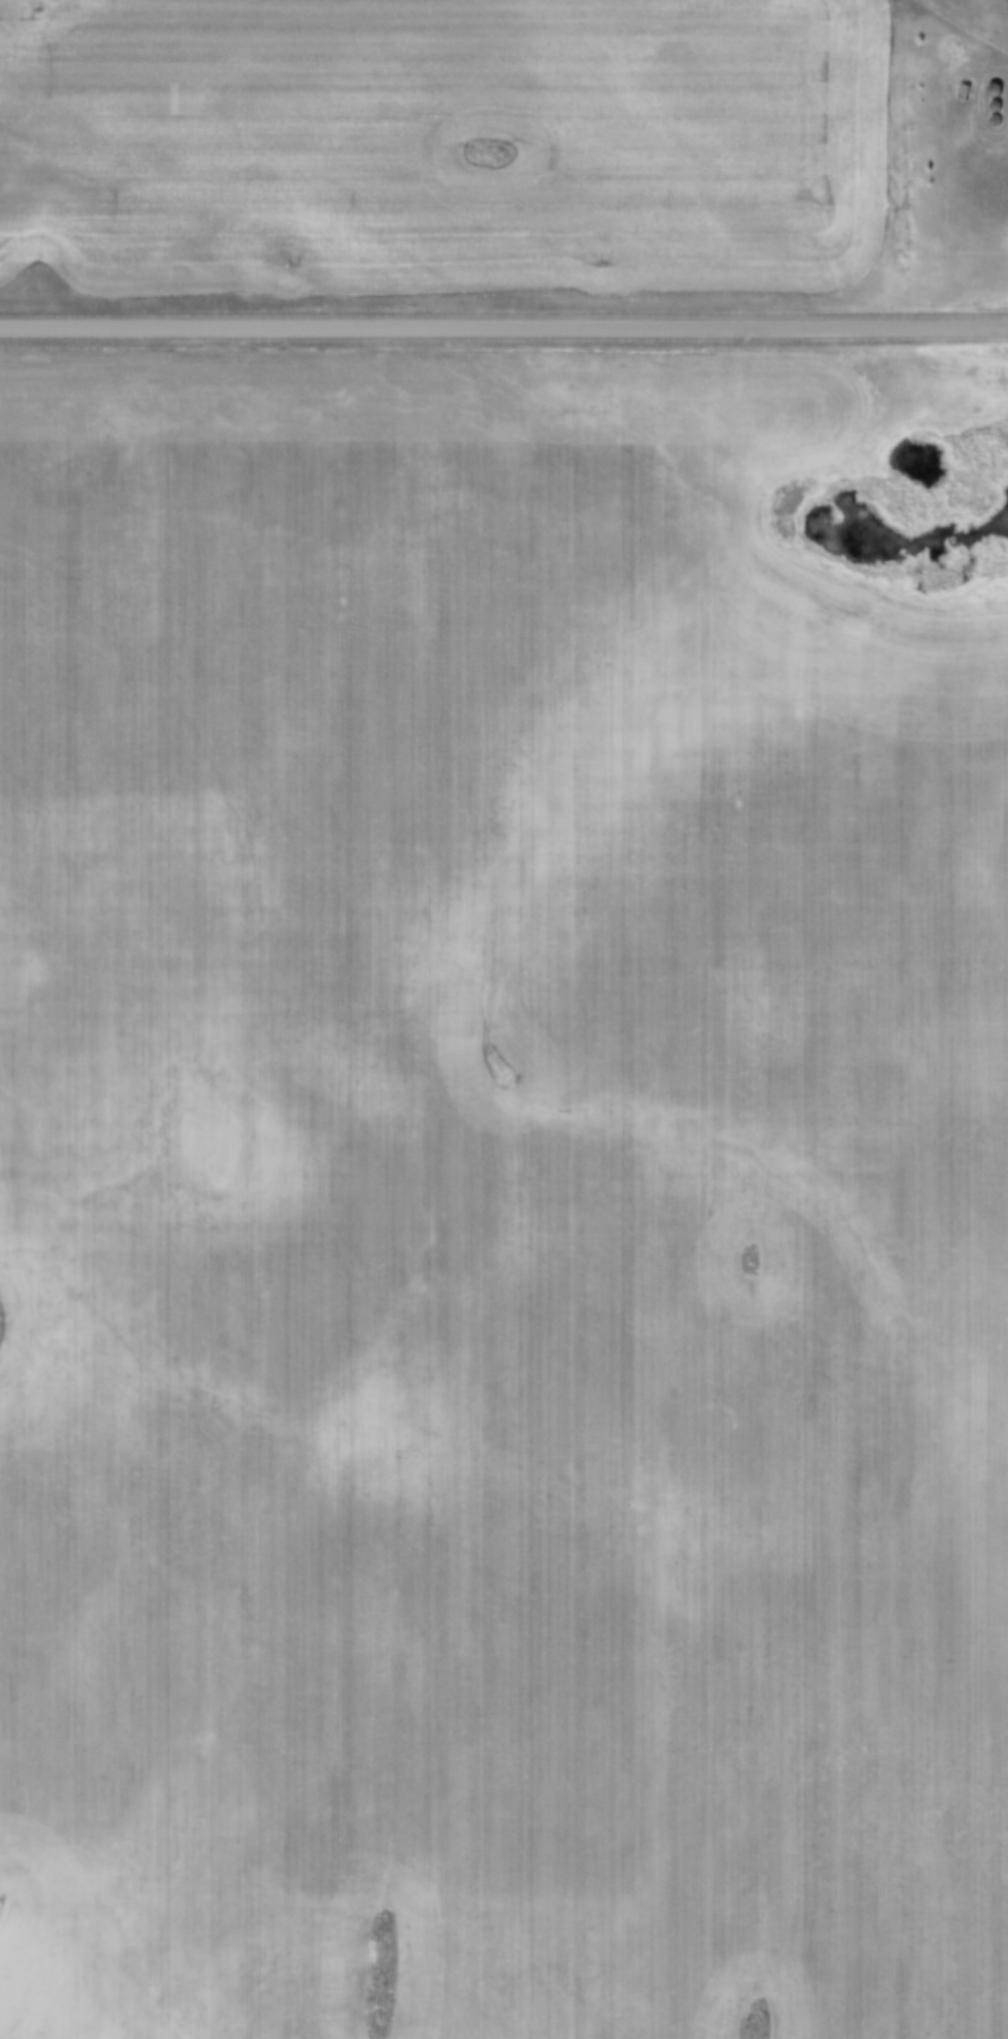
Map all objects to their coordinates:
road: (967, 28)
road: (504, 324)

